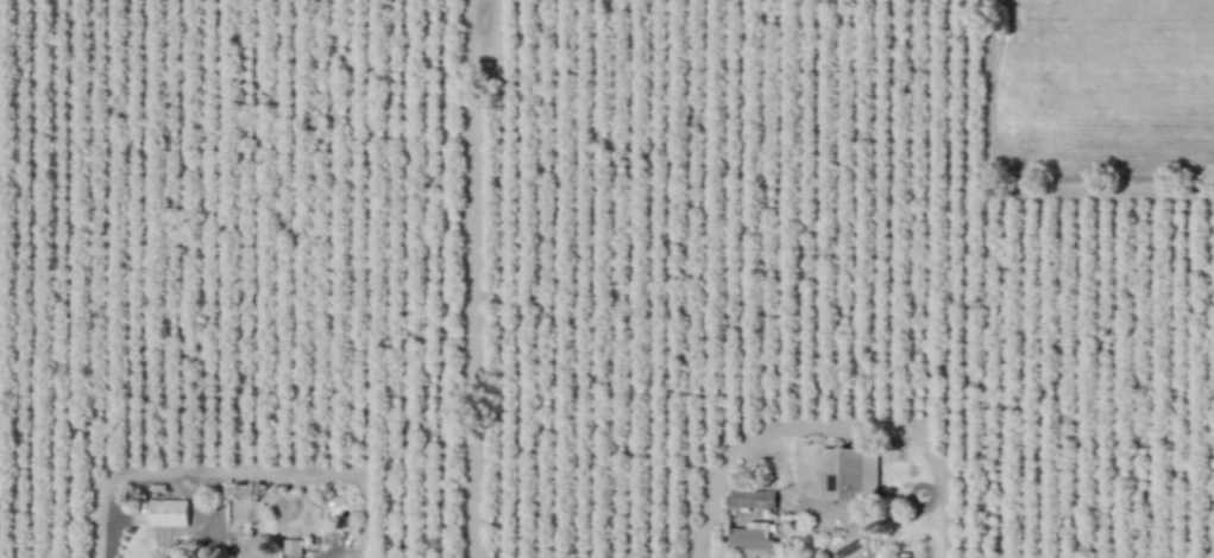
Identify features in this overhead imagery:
crop: (1101, 87)
road: (826, 425)
building: (847, 474)
building: (749, 499)
building: (165, 513)
building: (750, 540)
building: (290, 547)
building: (718, 550)

